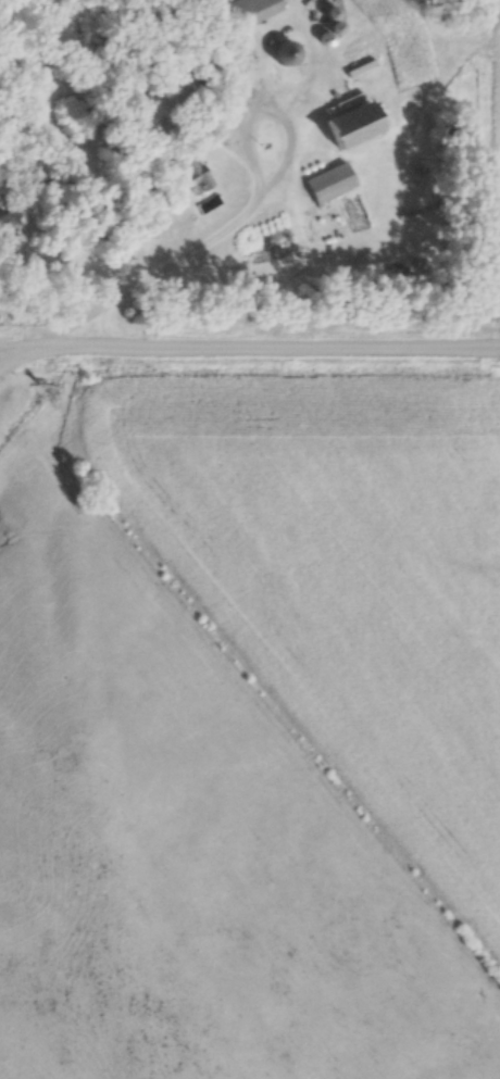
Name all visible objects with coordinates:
building: (254, 9)
building: (354, 40)
building: (284, 52)
building: (349, 124)
building: (191, 173)
building: (328, 181)
road: (236, 219)
road: (249, 348)
road: (28, 362)

